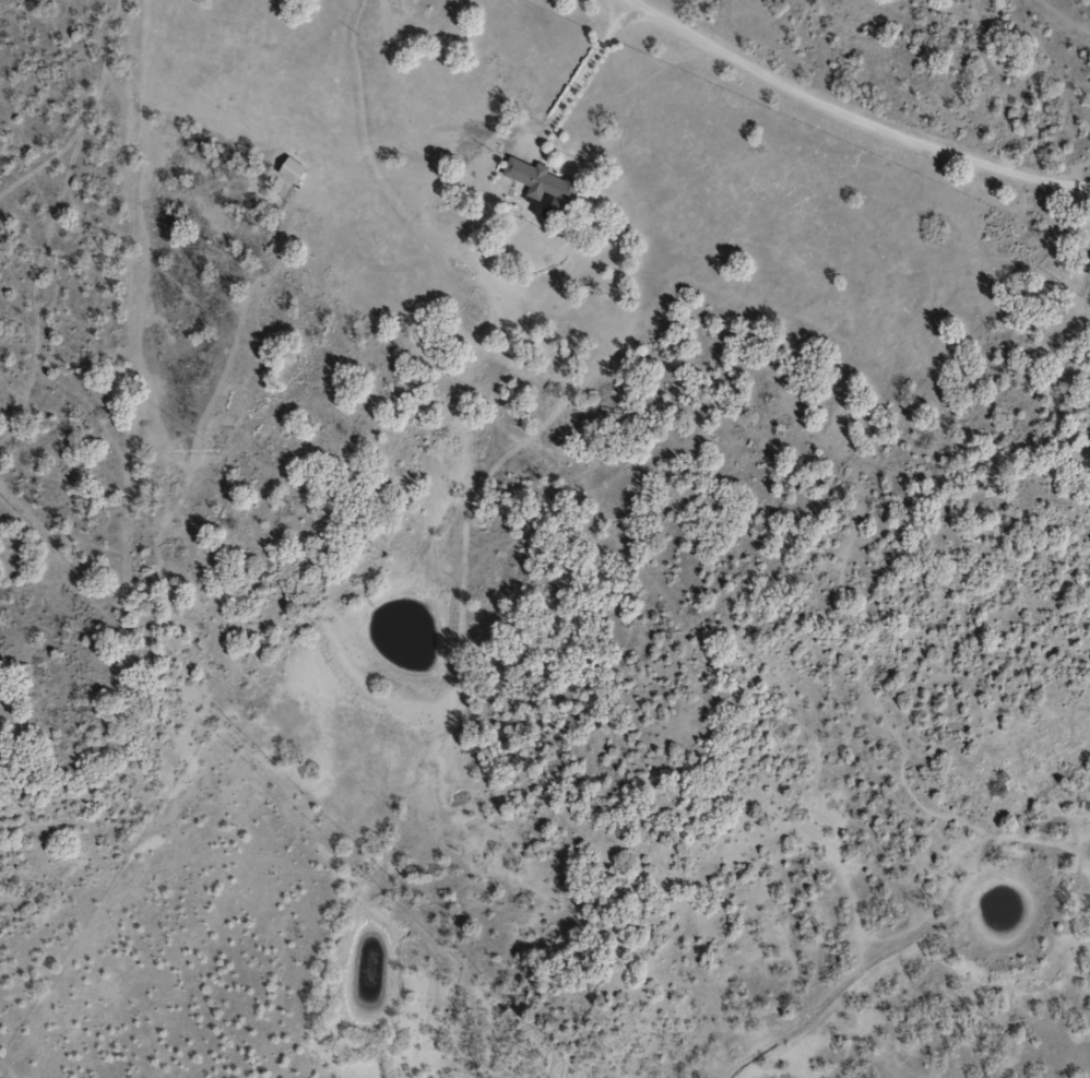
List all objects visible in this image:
road: (849, 116)
building: (288, 169)
building: (541, 185)
building: (1087, 266)

